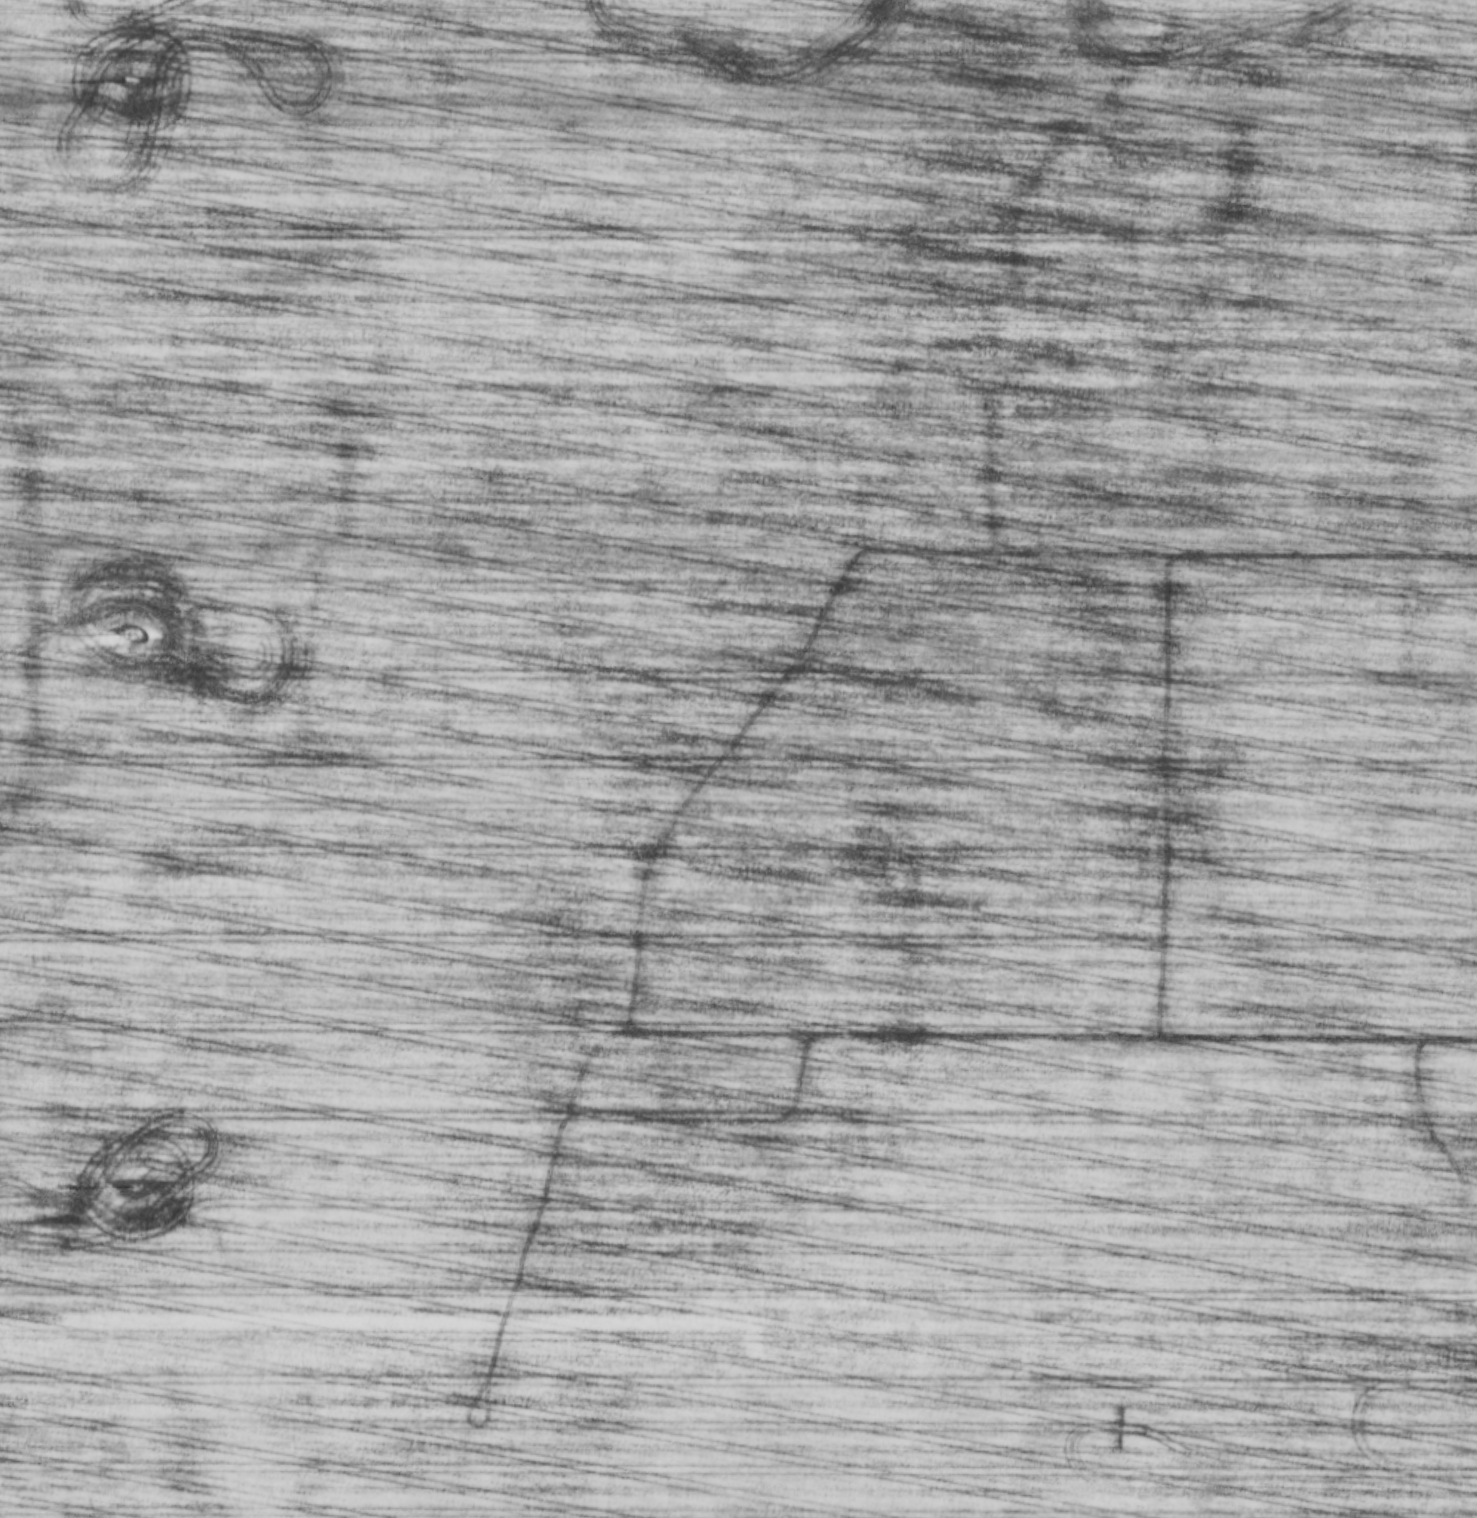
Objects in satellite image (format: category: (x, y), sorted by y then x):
power tower: (127, 80)
power tower: (130, 630)
crop: (738, 759)
power tower: (132, 1185)

